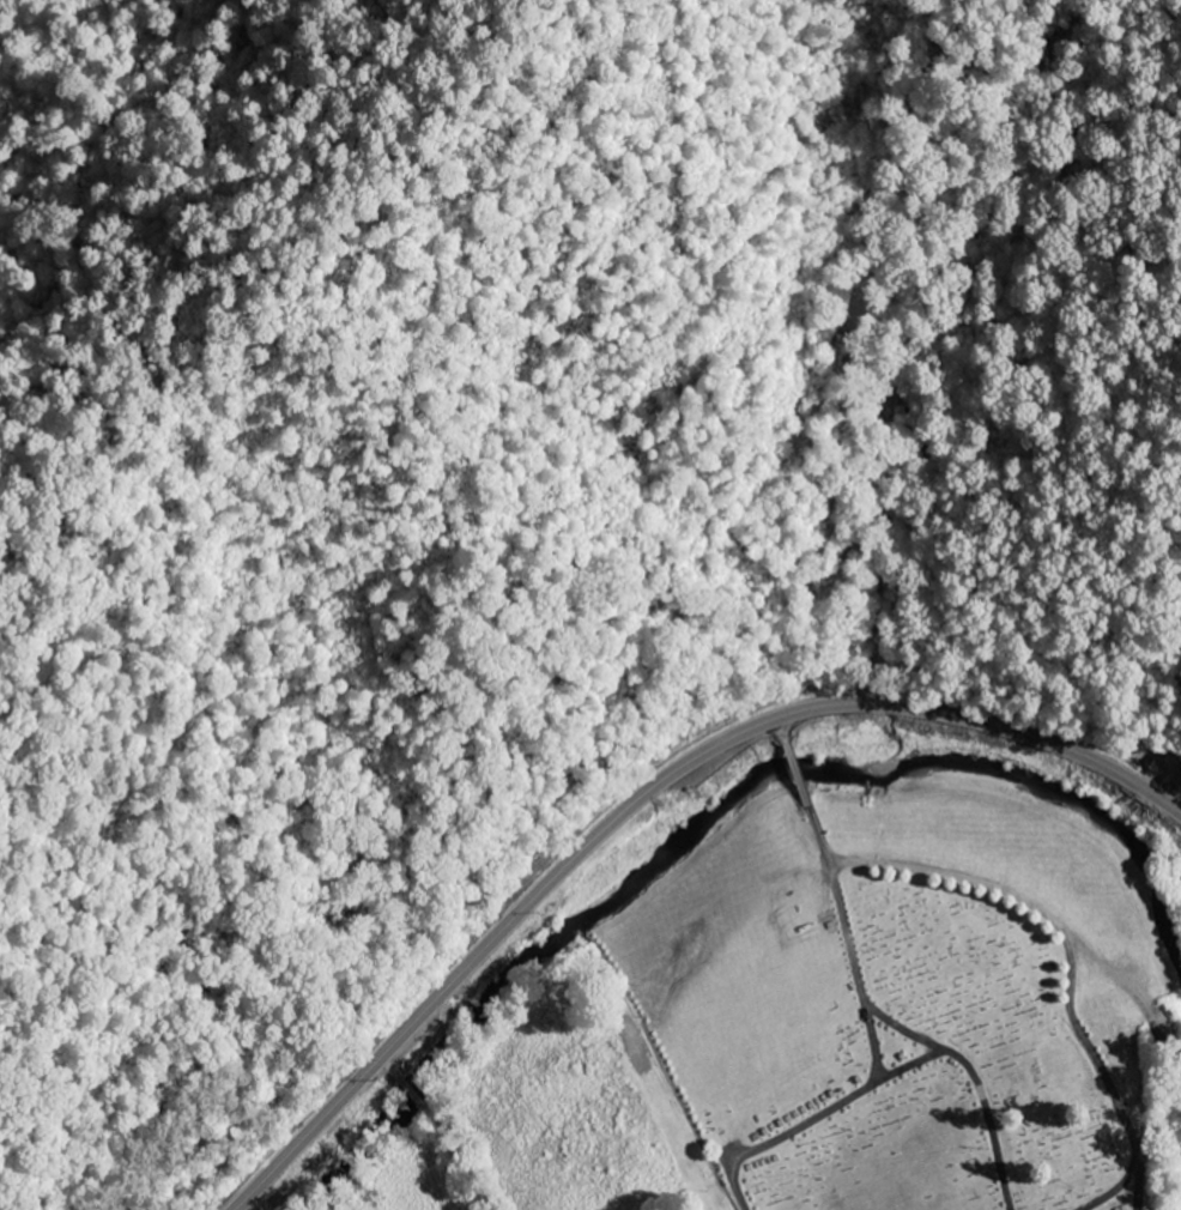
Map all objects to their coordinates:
road: (786, 730)
road: (795, 768)
road: (644, 794)
river: (707, 815)
road: (847, 933)
road: (1071, 957)
park: (902, 986)
road: (913, 1064)
road: (977, 1082)
road: (780, 1126)
road: (1132, 1204)

